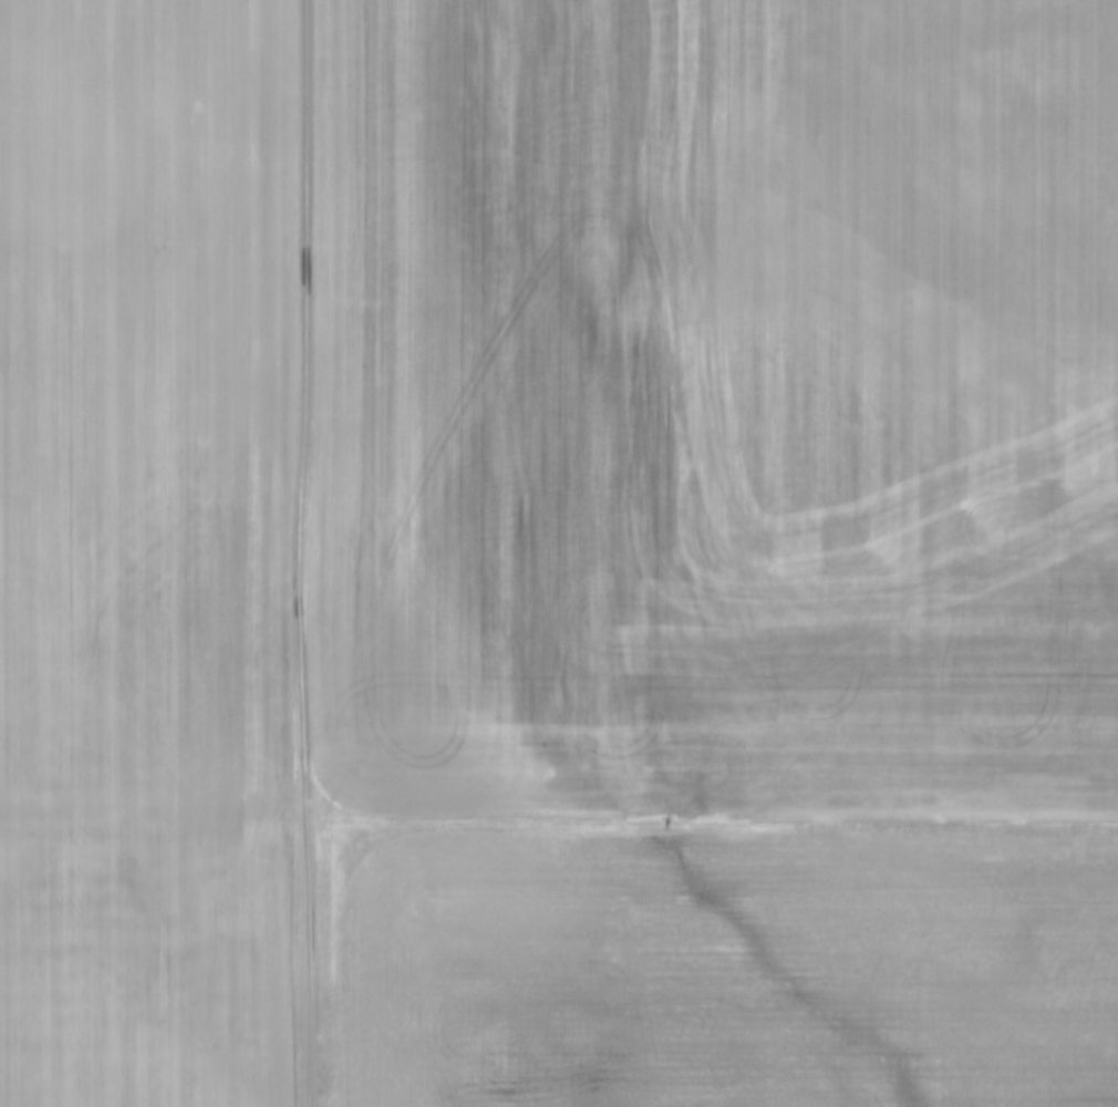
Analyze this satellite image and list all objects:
road: (304, 553)
road: (151, 825)

